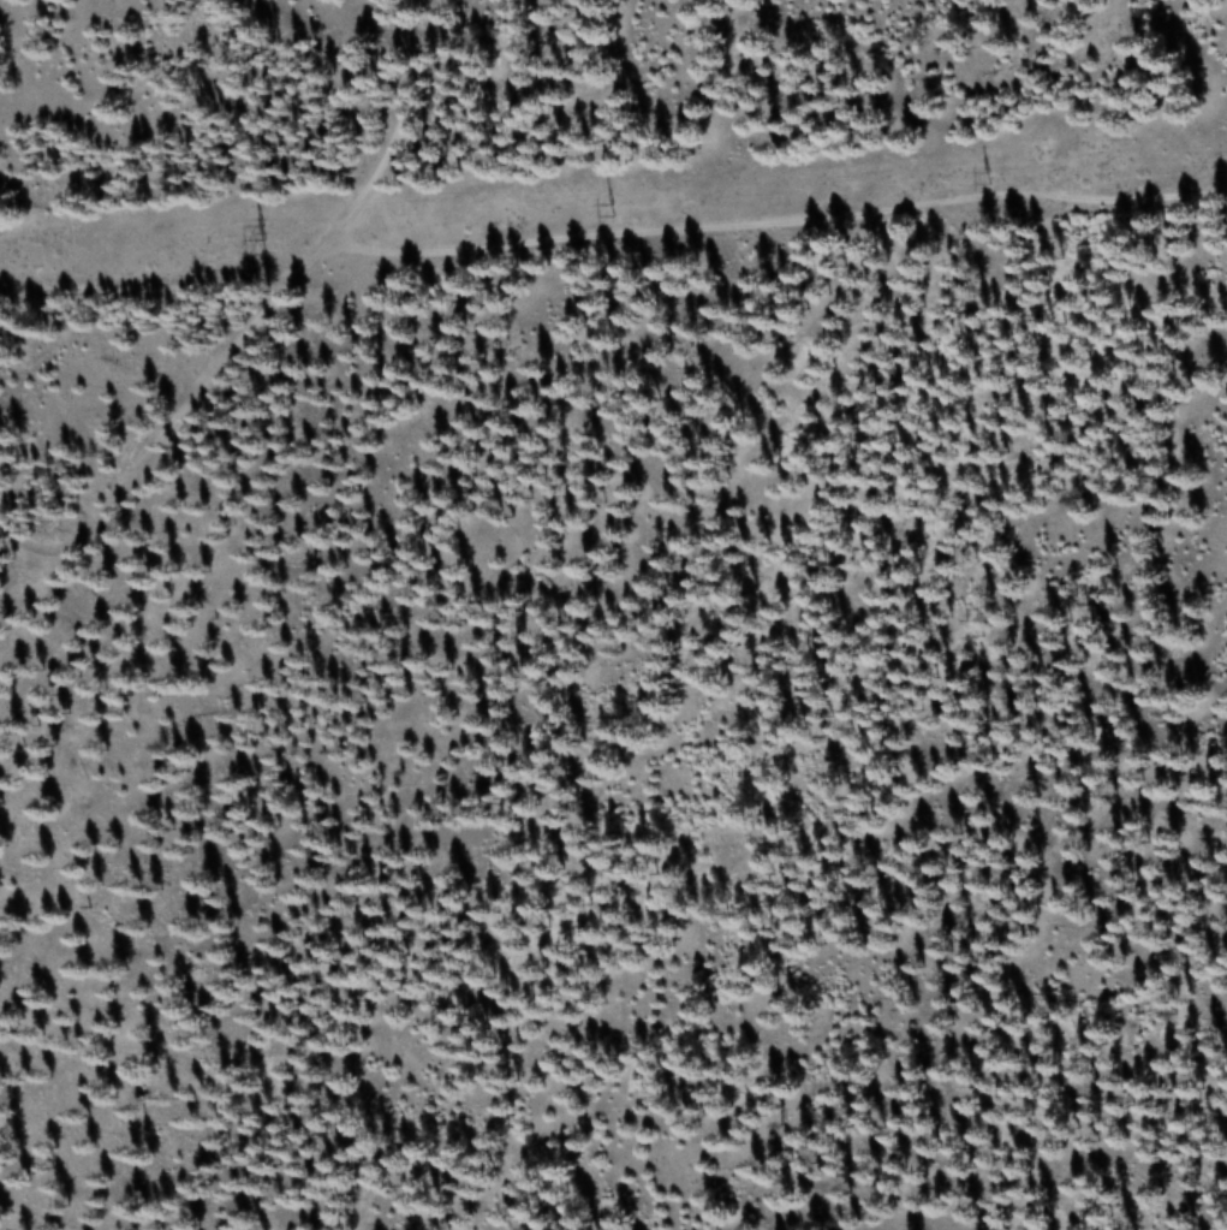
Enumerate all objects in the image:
power tower: (985, 179)
power tower: (263, 233)
road: (294, 357)

